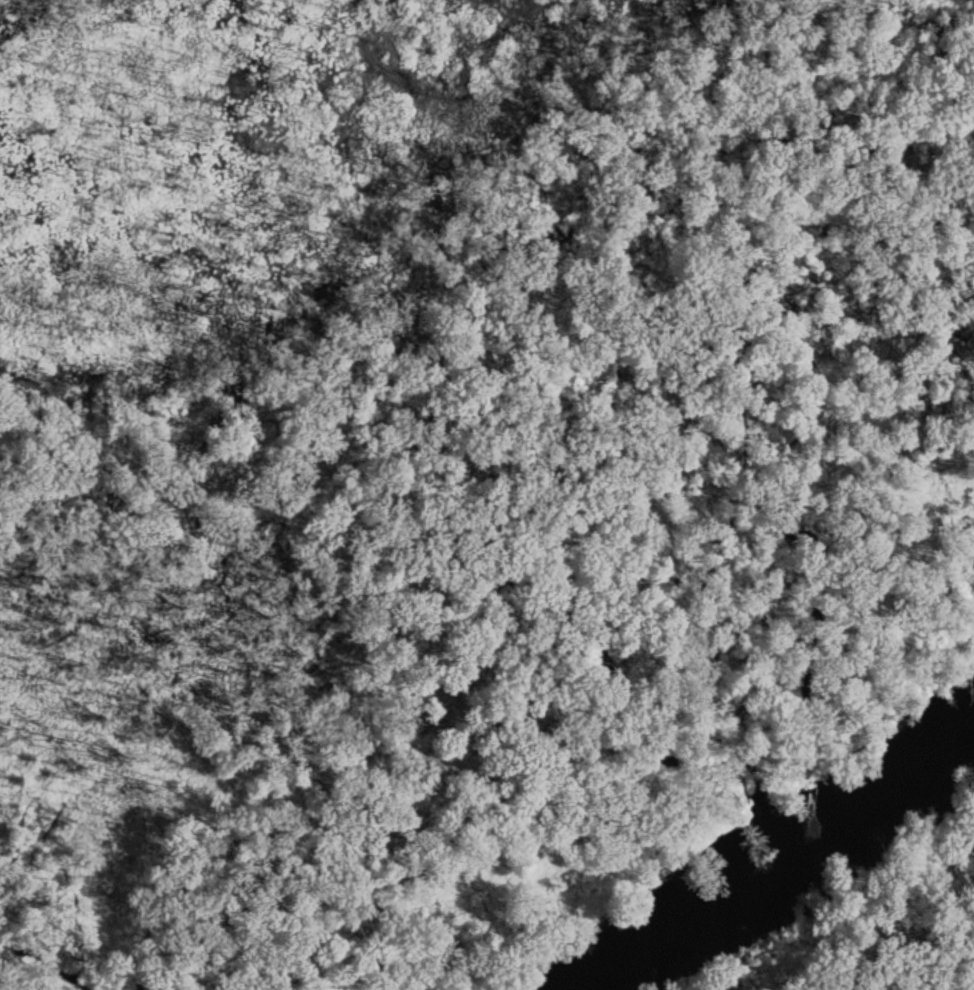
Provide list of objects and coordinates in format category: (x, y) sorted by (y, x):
river: (791, 872)

